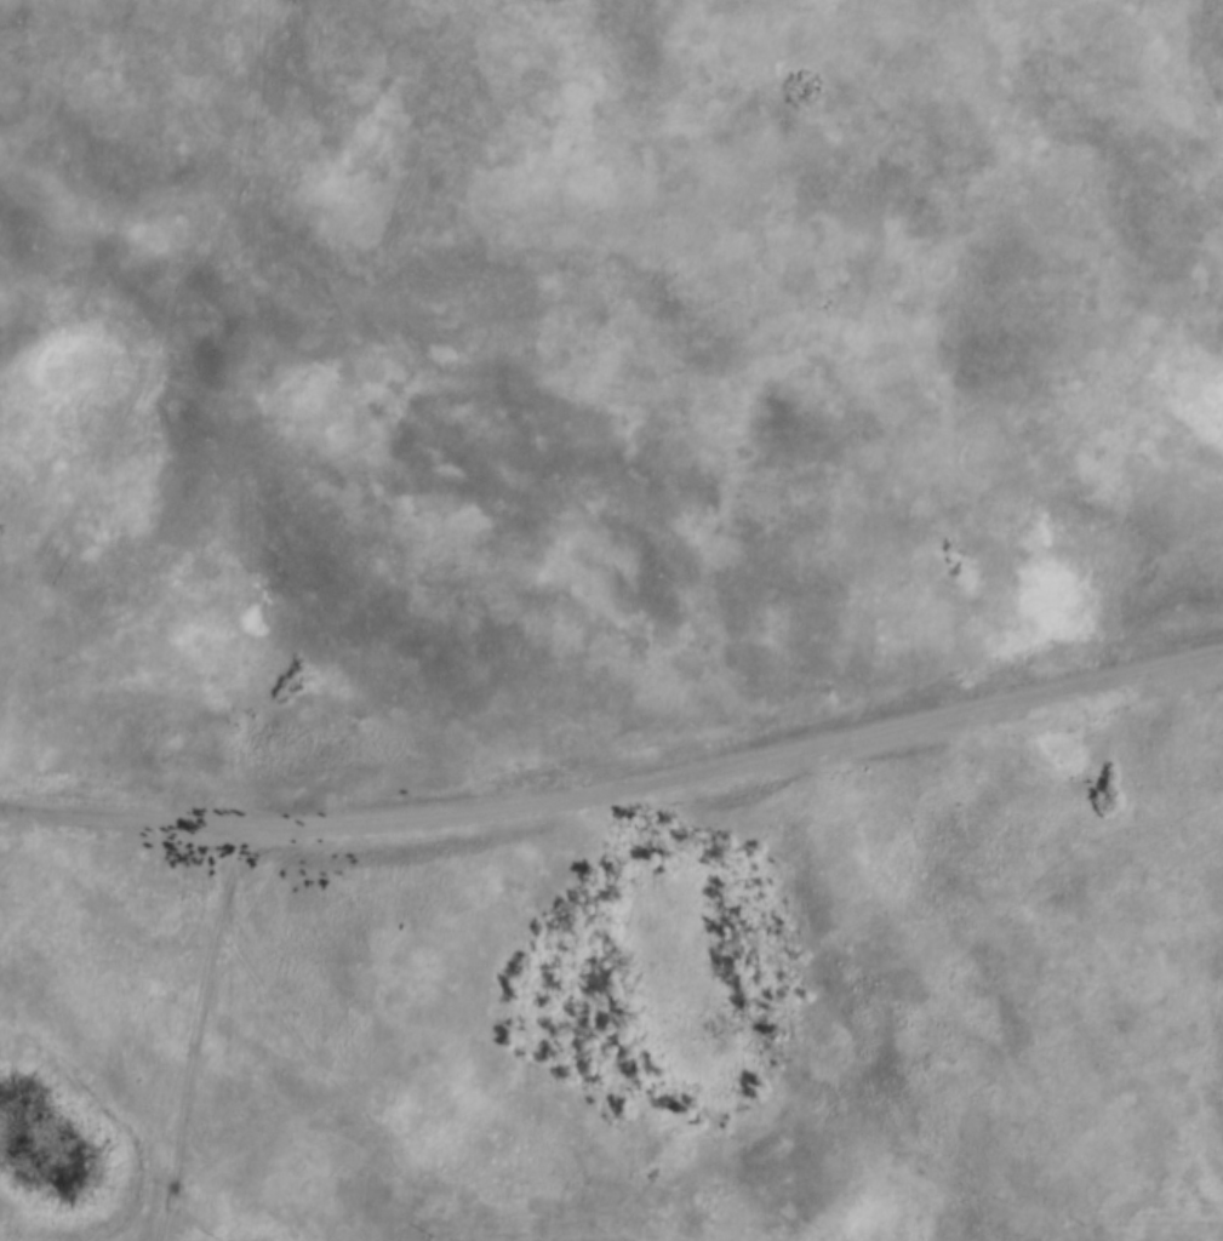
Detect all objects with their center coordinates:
road: (617, 780)

